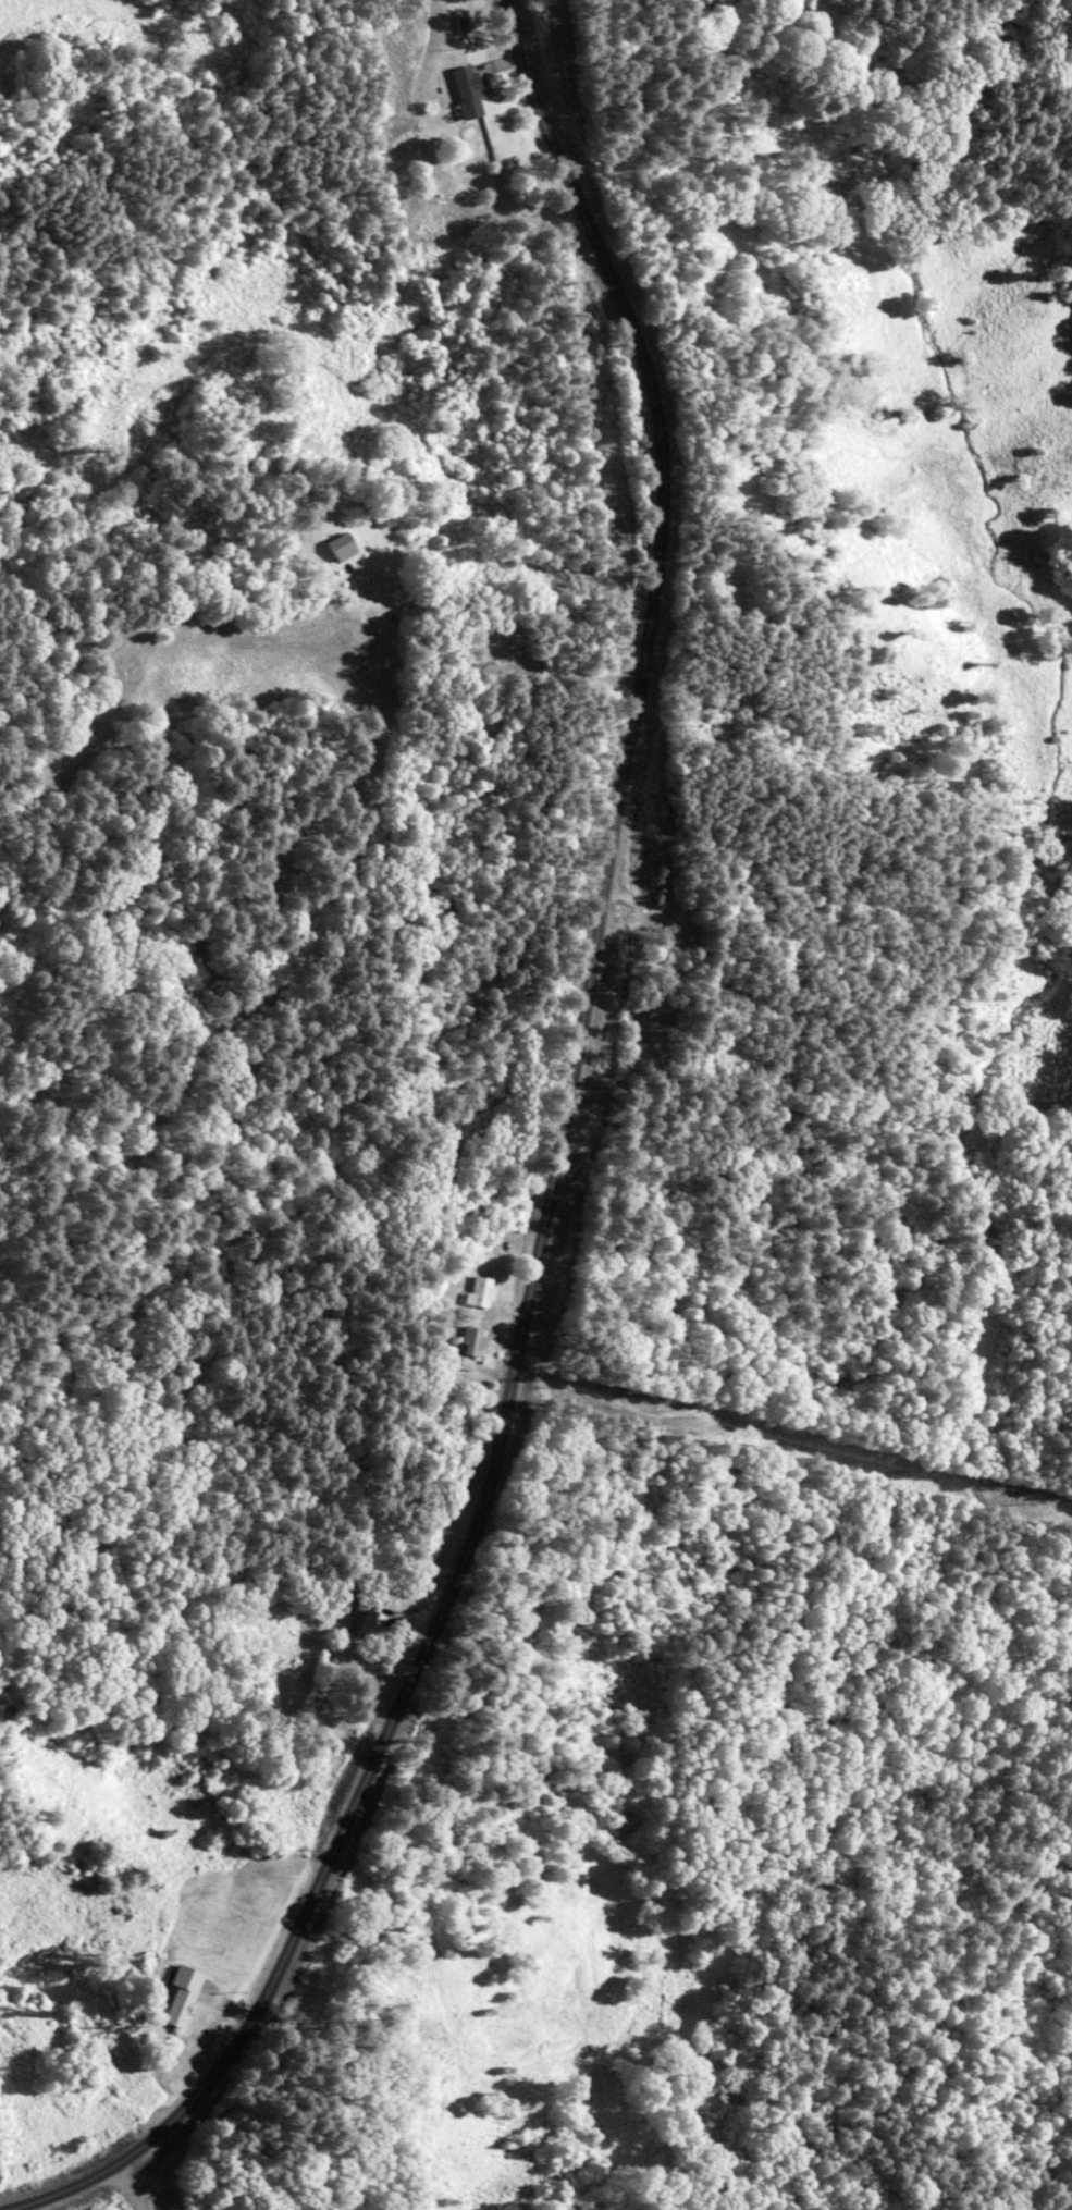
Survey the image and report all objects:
road: (485, 83)
building: (464, 91)
building: (335, 547)
road: (490, 648)
road: (546, 1183)
building: (476, 1291)
building: (468, 1340)
building: (458, 1378)
building: (359, 1617)
building: (181, 1996)
road: (127, 2188)

